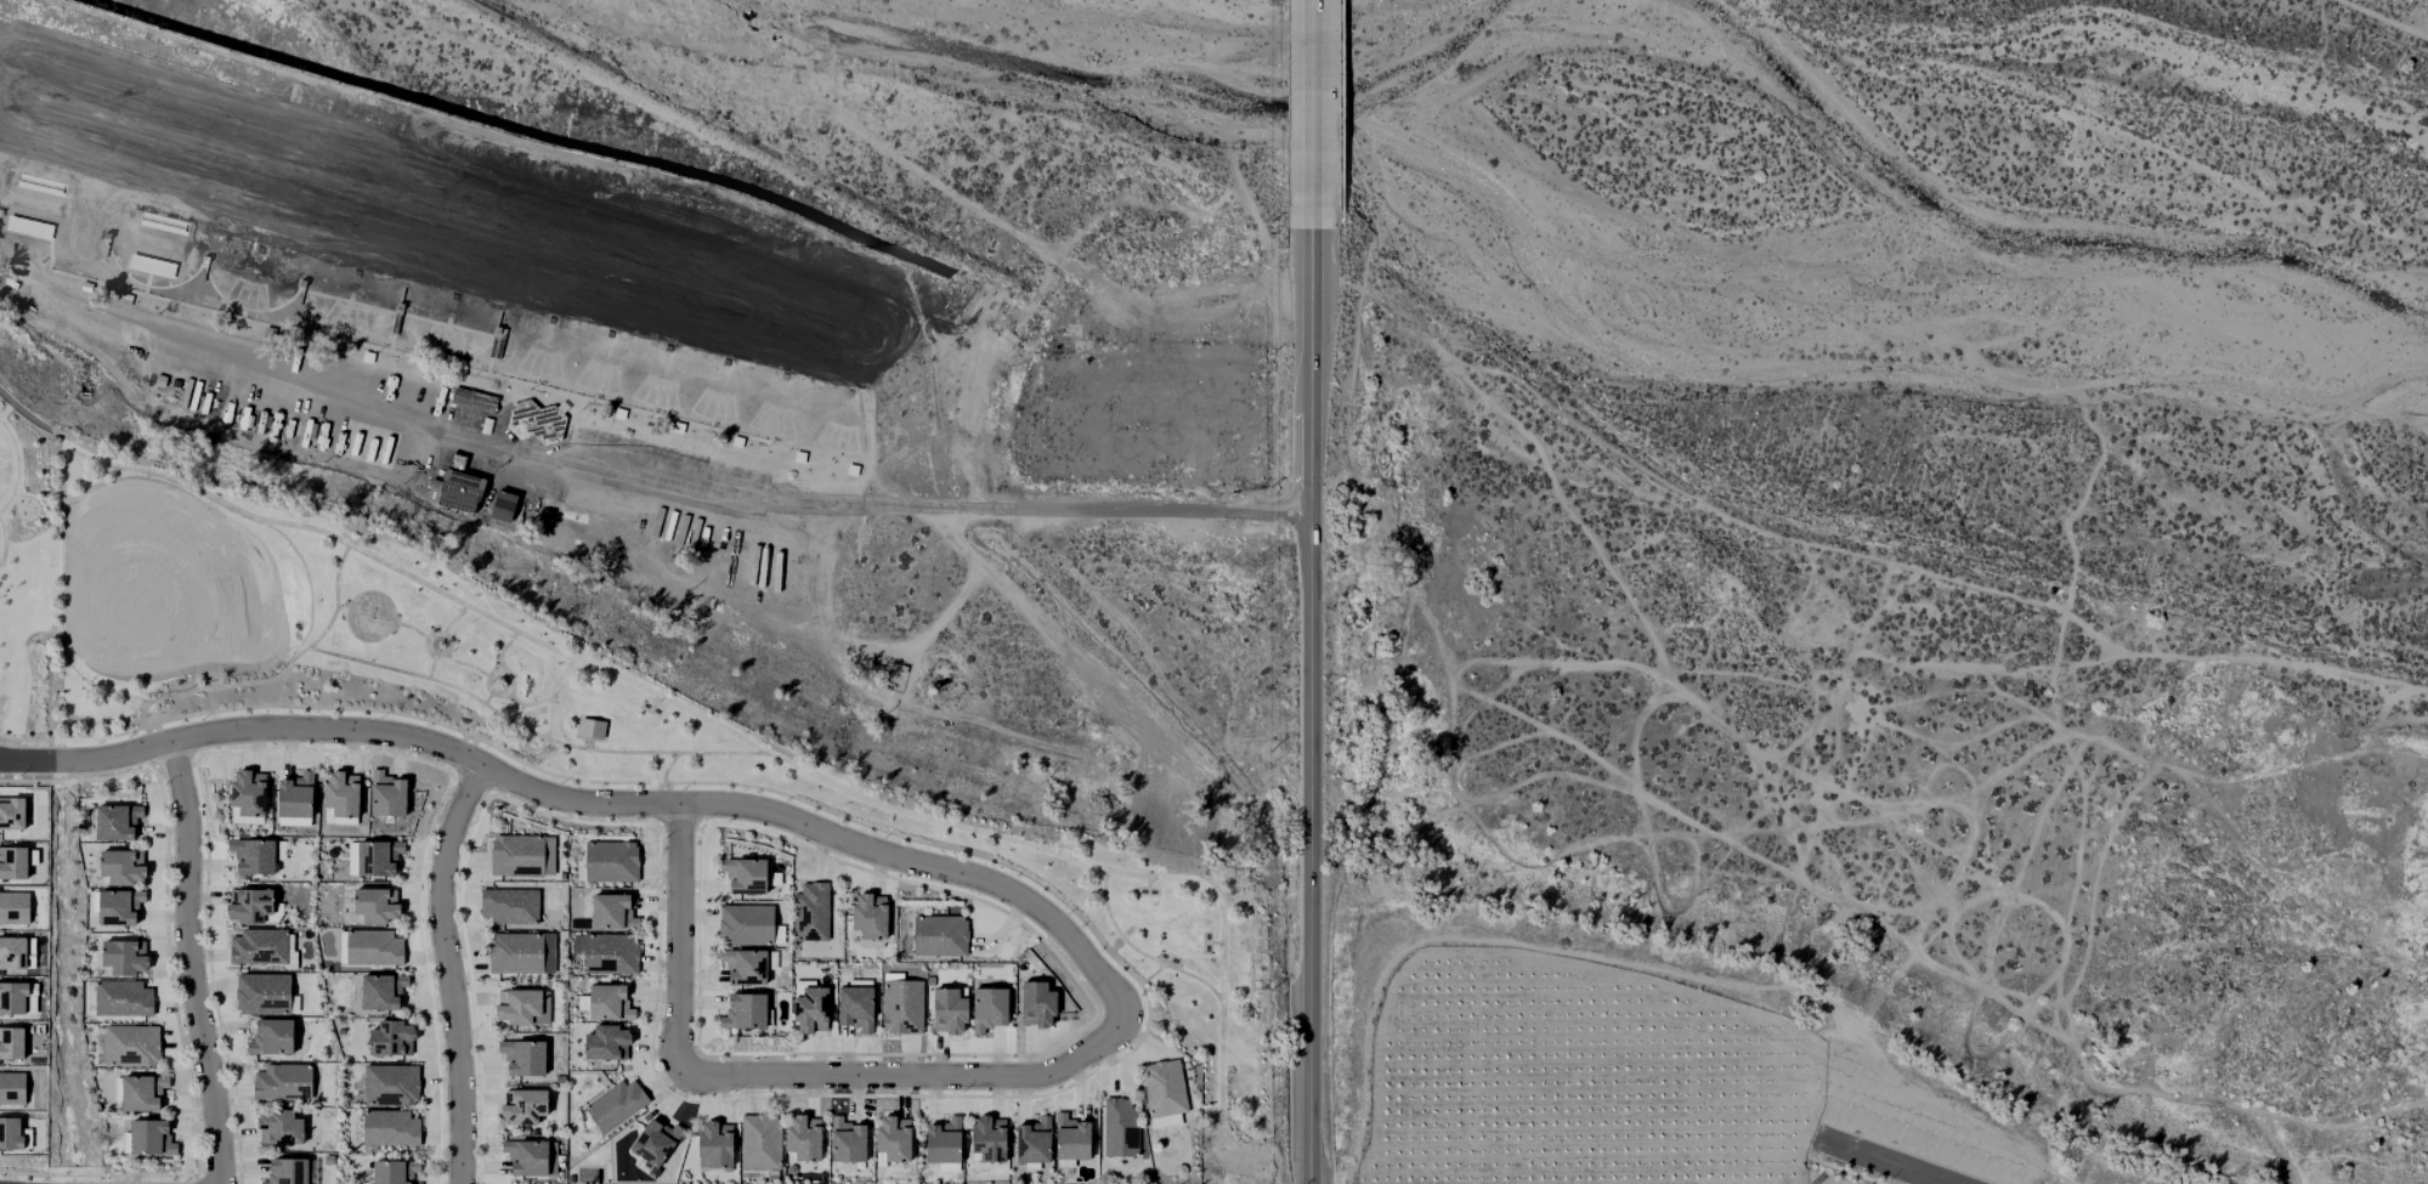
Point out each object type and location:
river: (1103, 84)
road: (1315, 115)
river: (1915, 290)
road: (1313, 323)
building: (367, 356)
building: (474, 396)
road: (379, 408)
road: (6, 409)
road: (23, 412)
building: (617, 412)
building: (533, 421)
building: (677, 426)
building: (736, 438)
building: (798, 457)
road: (1309, 461)
road: (18, 465)
building: (849, 469)
building: (455, 488)
road: (13, 500)
road: (1040, 504)
building: (502, 505)
road: (4, 540)
park: (368, 616)
road: (454, 619)
road: (414, 630)
road: (447, 646)
road: (466, 664)
road: (430, 665)
road: (279, 675)
road: (508, 675)
road: (491, 676)
road: (553, 696)
road: (528, 704)
park: (521, 712)
building: (592, 729)
road: (531, 731)
road: (508, 742)
road: (757, 747)
road: (664, 776)
building: (249, 792)
building: (343, 794)
building: (387, 794)
building: (295, 795)
road: (590, 801)
building: (11, 812)
building: (118, 821)
road: (1315, 846)
building: (254, 856)
building: (516, 857)
building: (611, 860)
building: (377, 861)
building: (12, 862)
building: (123, 867)
building: (746, 873)
building: (250, 905)
building: (119, 906)
building: (13, 907)
building: (510, 907)
building: (374, 908)
building: (611, 911)
building: (811, 912)
building: (871, 916)
building: (747, 923)
road: (678, 935)
building: (940, 935)
building: (257, 947)
building: (373, 950)
building: (12, 952)
building: (611, 952)
road: (1142, 953)
building: (515, 954)
building: (125, 957)
road: (1646, 957)
road: (189, 963)
building: (746, 964)
road: (449, 970)
road: (1153, 975)
building: (262, 992)
building: (381, 995)
building: (121, 997)
building: (12, 998)
building: (609, 1001)
building: (902, 1008)
building: (1037, 1008)
building: (811, 1009)
building: (517, 1010)
building: (856, 1010)
building: (989, 1010)
building: (745, 1012)
building: (950, 1013)
building: (272, 1037)
building: (391, 1042)
building: (606, 1042)
building: (11, 1043)
building: (130, 1044)
building: (522, 1061)
road: (912, 1077)
building: (281, 1081)
building: (390, 1087)
building: (1165, 1087)
building: (12, 1088)
building: (143, 1092)
building: (616, 1104)
building: (523, 1110)
building: (1165, 1121)
building: (281, 1127)
building: (1121, 1127)
building: (390, 1131)
building: (10, 1134)
building: (804, 1137)
building: (152, 1138)
building: (893, 1138)
building: (1071, 1138)
building: (989, 1139)
building: (760, 1140)
building: (847, 1140)
building: (944, 1140)
building: (656, 1141)
building: (1035, 1141)
building: (715, 1144)
building: (329, 1160)
building: (527, 1160)
road: (1890, 1162)
building: (941, 1166)
building: (288, 1171)
building: (394, 1173)
road: (1936, 1182)

